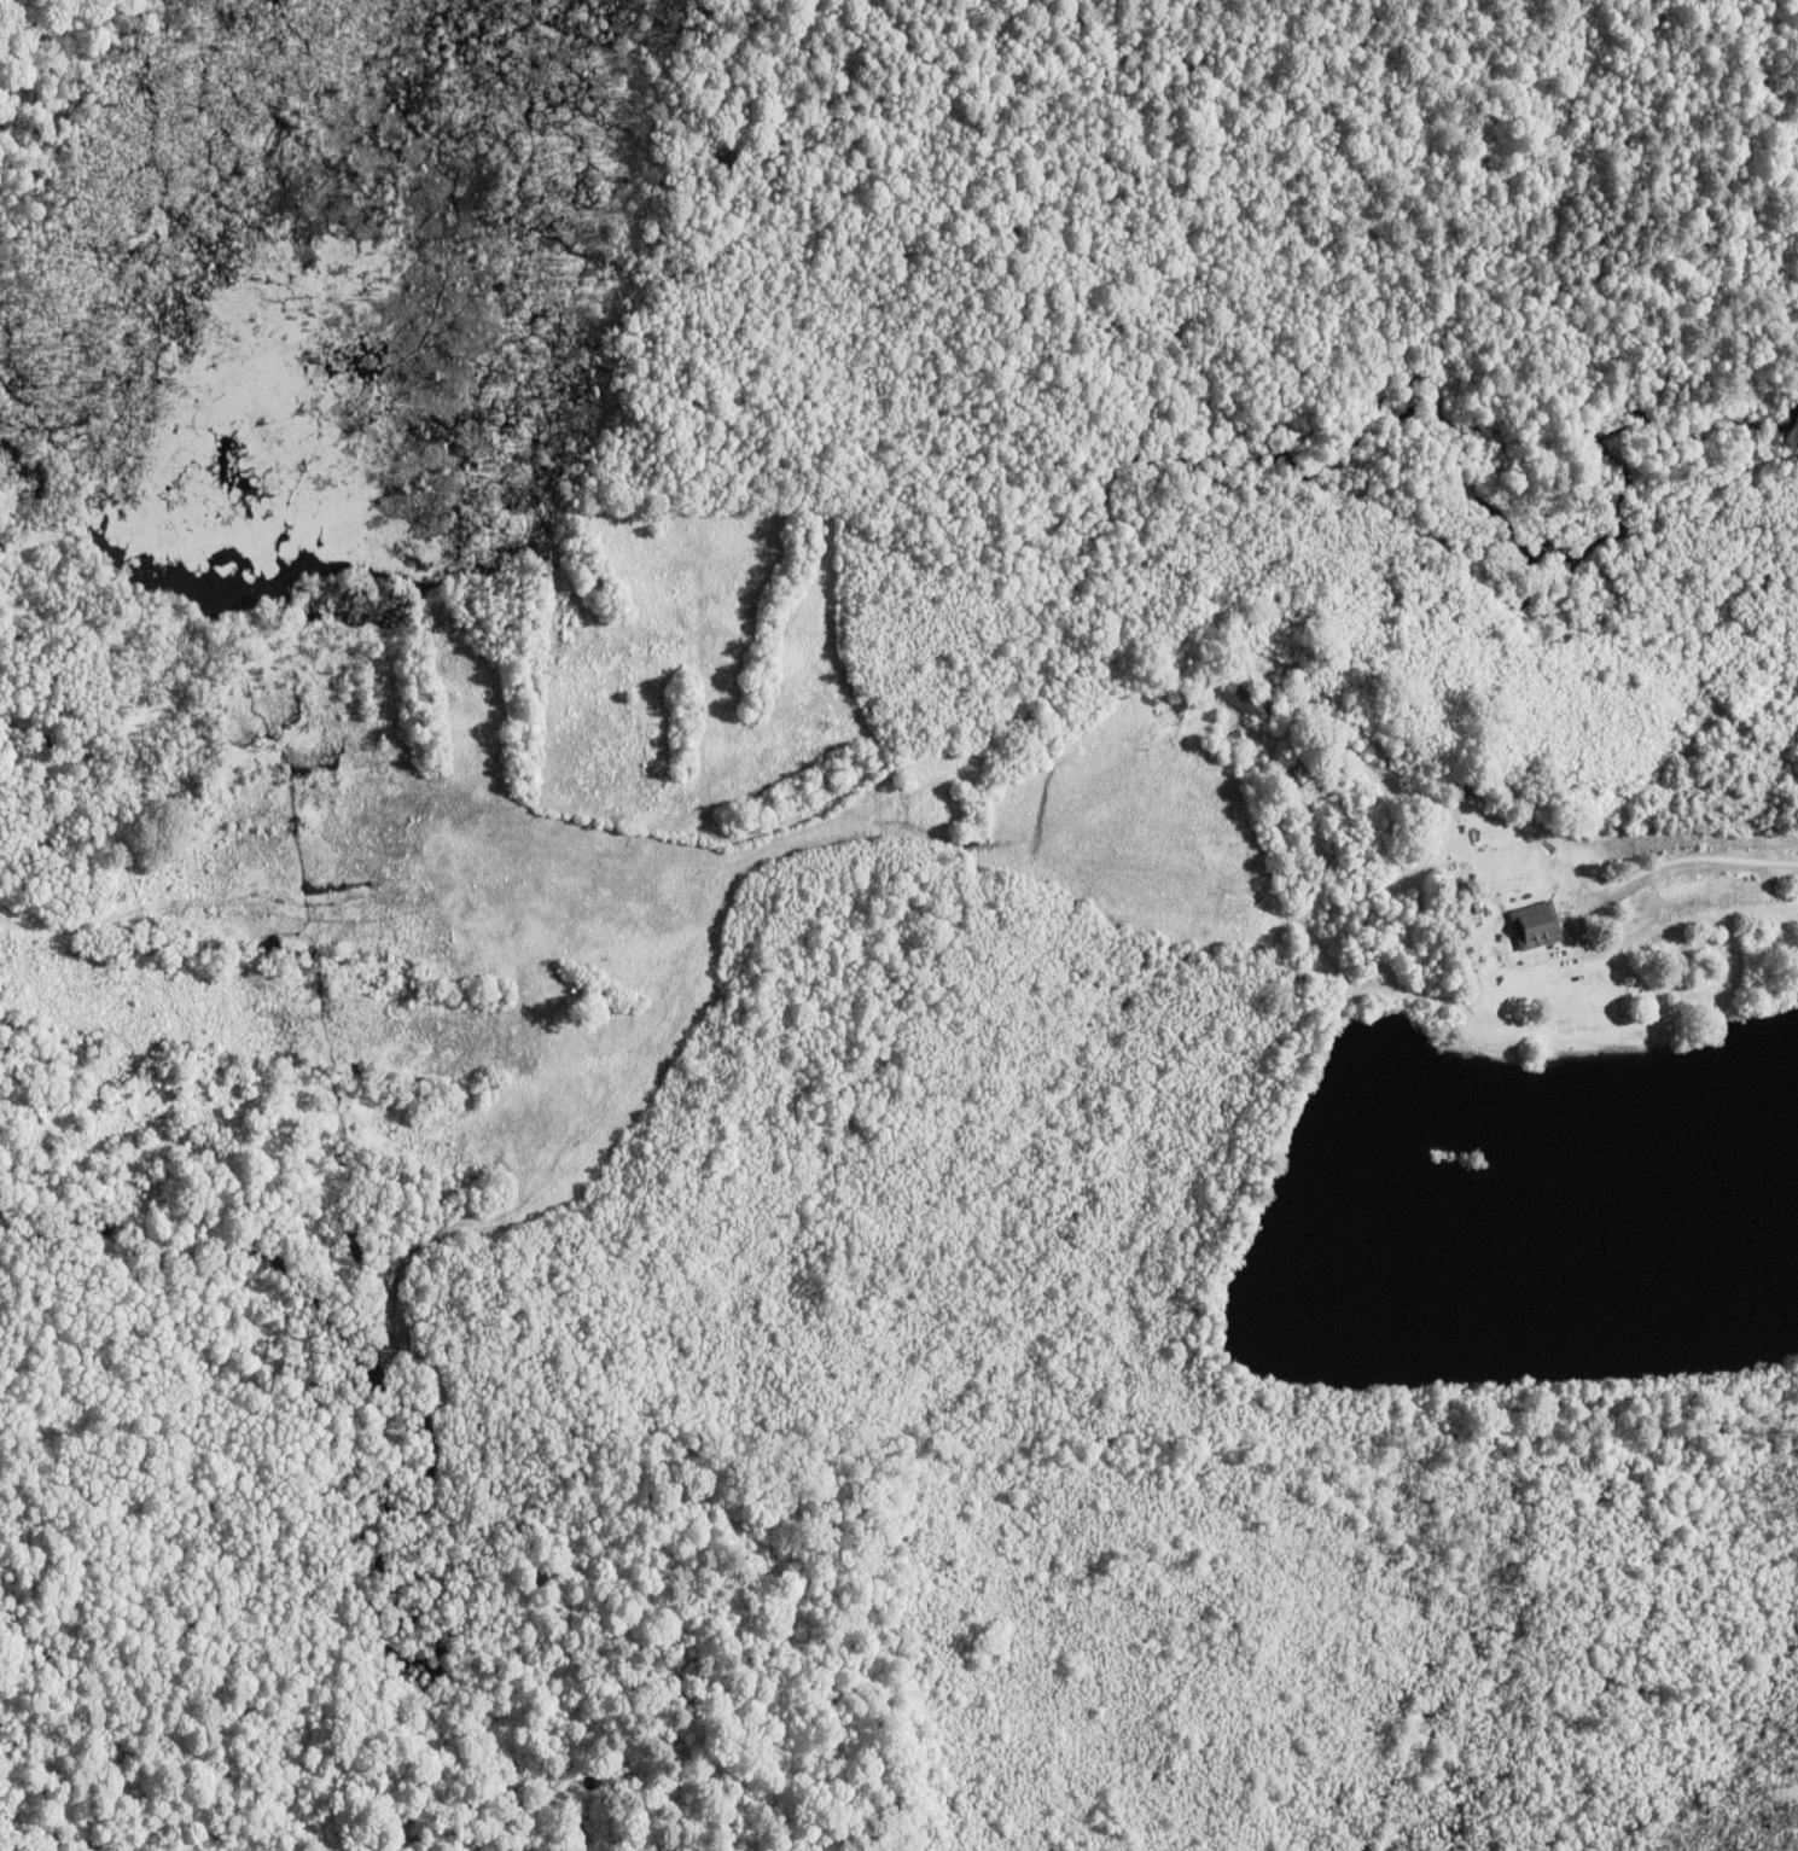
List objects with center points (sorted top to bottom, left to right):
building: (1241, 699)
building: (1291, 758)
road: (1692, 856)
building: (1534, 924)

